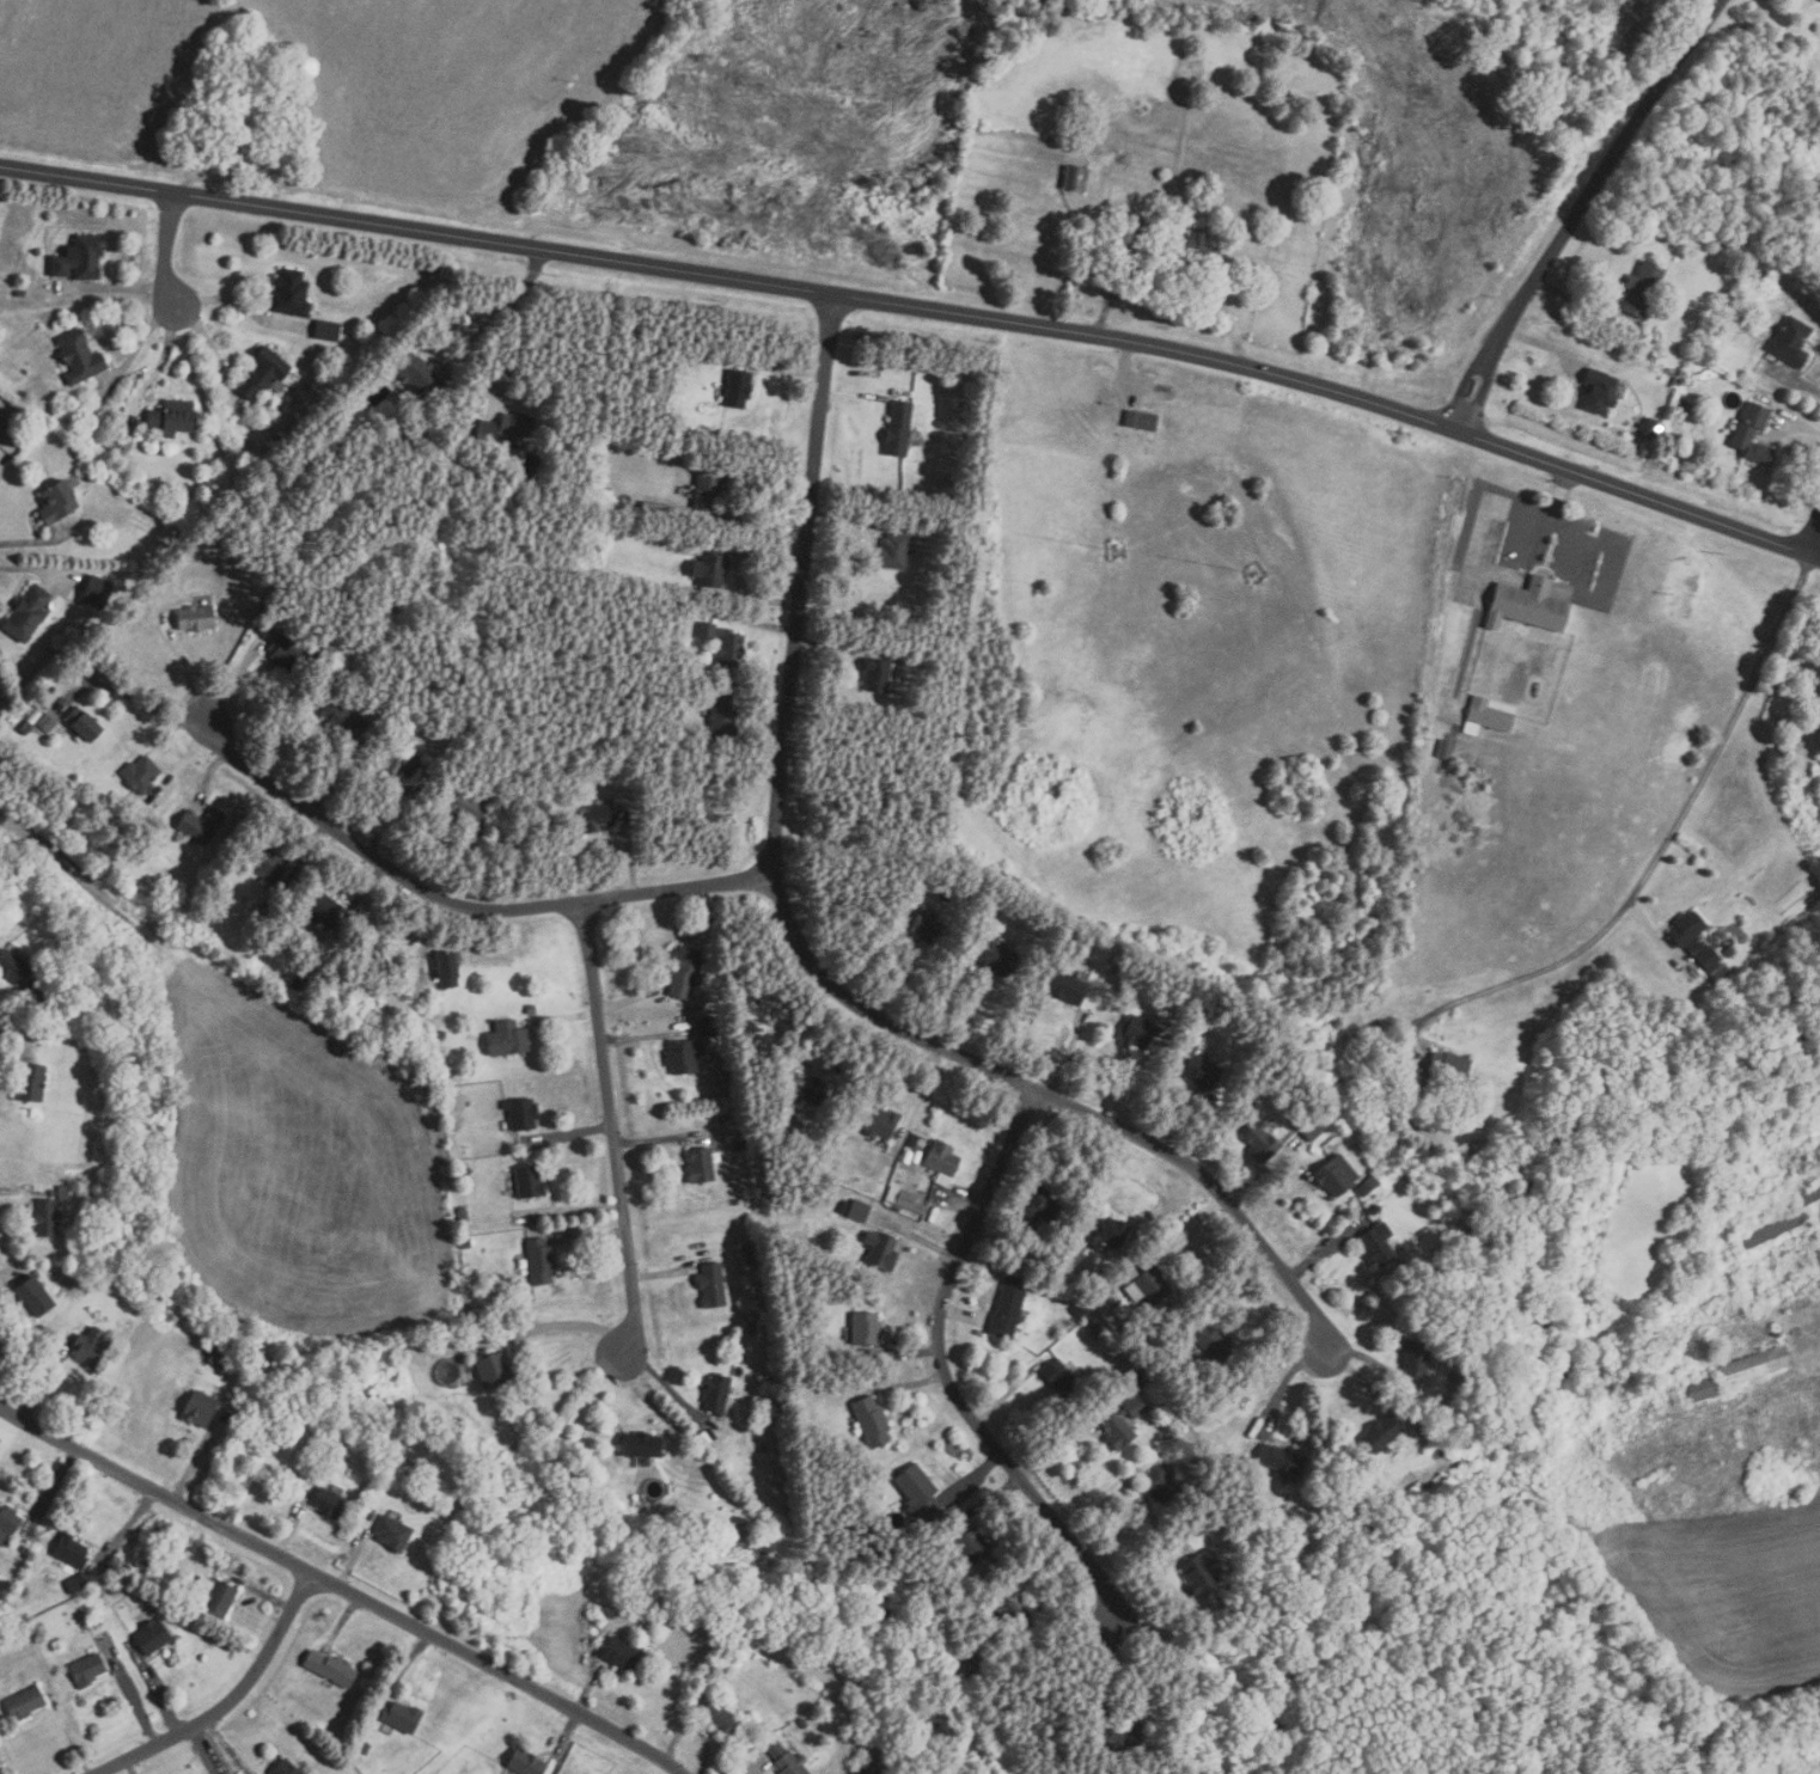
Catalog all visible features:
building: (1123, 159)
building: (1076, 178)
road: (1578, 209)
building: (1125, 237)
road: (167, 249)
building: (1198, 250)
building: (80, 256)
road: (1126, 271)
road: (112, 288)
building: (1644, 289)
building: (292, 292)
building: (22, 293)
road: (242, 304)
road: (922, 307)
building: (326, 329)
road: (480, 331)
building: (1792, 342)
road: (135, 349)
road: (212, 350)
building: (81, 356)
building: (686, 356)
road: (160, 365)
building: (264, 372)
building: (425, 379)
building: (740, 386)
road: (1126, 386)
building: (1601, 391)
building: (172, 416)
building: (1142, 418)
building: (521, 423)
building: (900, 426)
building: (1650, 427)
building: (2, 429)
building: (487, 430)
building: (1754, 434)
road: (1, 471)
building: (709, 489)
road: (1557, 491)
building: (604, 493)
building: (57, 500)
building: (655, 508)
road: (1813, 536)
road: (41, 544)
building: (894, 550)
building: (711, 561)
road: (41, 570)
building: (99, 591)
building: (1531, 604)
building: (29, 612)
building: (197, 617)
building: (726, 642)
building: (341, 643)
building: (285, 654)
building: (879, 673)
road: (139, 701)
building: (43, 704)
building: (1490, 715)
building: (343, 720)
building: (722, 720)
building: (48, 722)
building: (85, 723)
building: (26, 727)
building: (1446, 748)
building: (402, 760)
building: (141, 775)
building: (468, 805)
building: (597, 818)
building: (203, 826)
road: (1665, 839)
building: (269, 865)
road: (464, 907)
building: (328, 909)
building: (1688, 926)
building: (929, 929)
building: (1698, 946)
road: (807, 954)
building: (991, 955)
building: (1710, 956)
building: (13, 967)
building: (448, 968)
building: (685, 969)
building: (1722, 972)
building: (1728, 980)
building: (1069, 987)
building: (1741, 987)
road: (29, 1011)
building: (533, 1011)
building: (711, 1024)
building: (1138, 1032)
building: (441, 1034)
building: (1382, 1035)
building: (508, 1038)
road: (10, 1054)
building: (685, 1054)
building: (1448, 1070)
building: (1202, 1071)
building: (32, 1083)
building: (807, 1088)
building: (523, 1113)
building: (880, 1121)
building: (452, 1125)
road: (612, 1126)
building: (1313, 1126)
building: (915, 1140)
building: (1263, 1142)
building: (740, 1143)
building: (915, 1155)
building: (943, 1160)
building: (701, 1166)
building: (465, 1173)
building: (1338, 1175)
building: (530, 1181)
building: (1369, 1185)
road: (11, 1189)
building: (53, 1192)
building: (1807, 1193)
building: (905, 1199)
building: (843, 1206)
building: (1039, 1207)
building: (1374, 1207)
building: (860, 1210)
building: (463, 1212)
building: (44, 1216)
building: (1770, 1229)
building: (1364, 1231)
building: (1110, 1232)
building: (1379, 1243)
building: (882, 1249)
building: (752, 1256)
building: (540, 1260)
road: (11, 1271)
building: (1154, 1283)
building: (713, 1285)
building: (36, 1296)
building: (1009, 1307)
road: (567, 1325)
building: (867, 1328)
building: (1095, 1329)
building: (404, 1335)
building: (447, 1341)
building: (1214, 1344)
building: (93, 1350)
building: (213, 1357)
building: (1417, 1357)
building: (1752, 1365)
building: (494, 1370)
road: (947, 1371)
building: (1143, 1375)
building: (1455, 1376)
building: (1062, 1377)
road: (43, 1381)
building: (1699, 1388)
building: (717, 1393)
building: (1137, 1405)
building: (200, 1408)
building: (873, 1421)
building: (1422, 1423)
road: (1073, 1429)
building: (1118, 1429)
building: (1384, 1433)
building: (643, 1444)
road: (199, 1458)
building: (1283, 1460)
building: (1161, 1484)
road: (53, 1492)
building: (304, 1492)
building: (921, 1492)
building: (332, 1504)
building: (371, 1515)
building: (8, 1523)
road: (129, 1525)
road: (289, 1529)
building: (393, 1533)
building: (971, 1544)
building: (25, 1549)
building: (71, 1554)
road: (353, 1559)
building: (1202, 1572)
building: (78, 1584)
road: (342, 1586)
building: (115, 1589)
road: (263, 1593)
building: (221, 1599)
building: (1012, 1608)
building: (96, 1621)
road: (343, 1621)
building: (85, 1626)
building: (153, 1637)
building: (621, 1654)
building: (728, 1658)
road: (405, 1663)
building: (971, 1663)
building: (331, 1669)
building: (88, 1671)
road: (588, 1683)
road: (155, 1689)
road: (130, 1693)
road: (231, 1701)
building: (24, 1703)
building: (403, 1717)
building: (720, 1718)
building: (804, 1723)
road: (695, 1731)
road: (69, 1735)
building: (1129, 1735)
road: (564, 1742)
road: (225, 1747)
building: (365, 1748)
road: (207, 1750)
building: (787, 1760)
building: (527, 1763)
road: (130, 1766)
building: (285, 1767)
road: (758, 1769)
building: (862, 1769)
road: (0, 1772)

